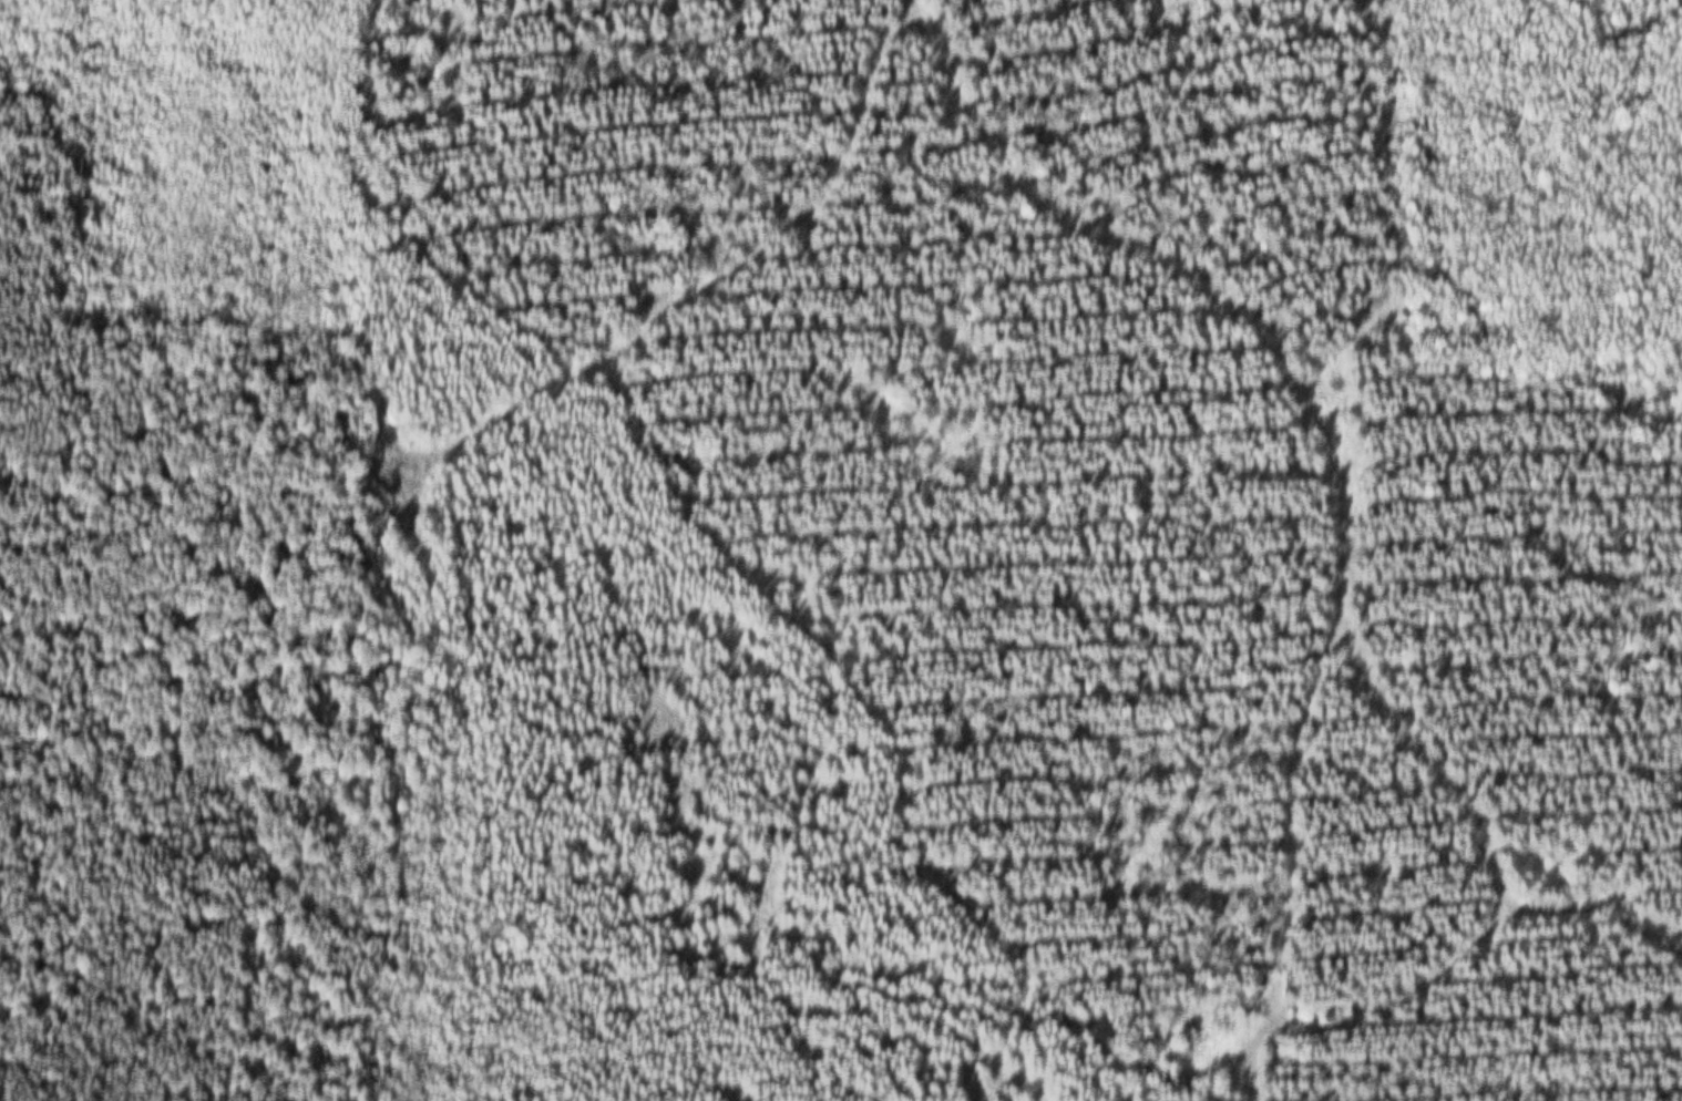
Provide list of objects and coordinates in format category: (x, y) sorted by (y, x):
road: (714, 280)
road: (1333, 476)

